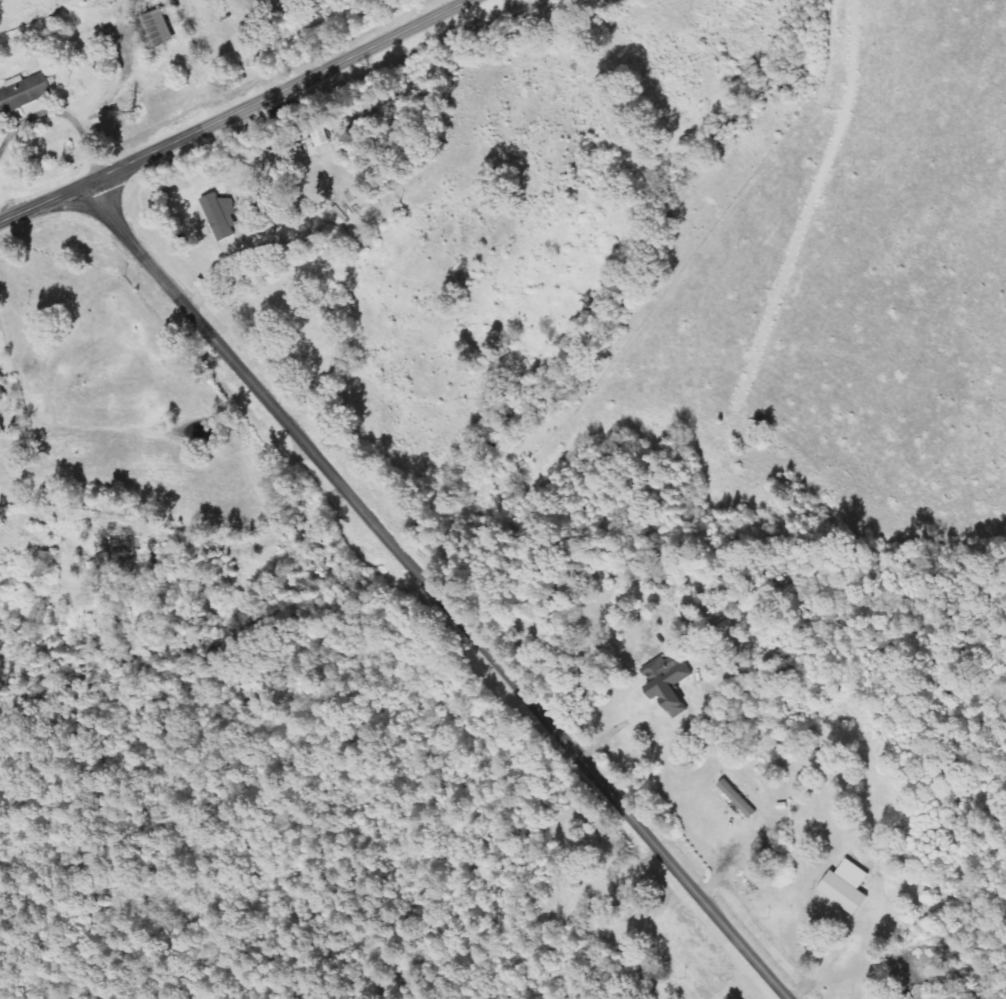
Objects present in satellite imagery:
building: (156, 29)
building: (24, 92)
road: (233, 111)
road: (59, 113)
building: (219, 216)
building: (1, 394)
building: (43, 565)
road: (433, 593)
building: (667, 684)
building: (845, 888)

